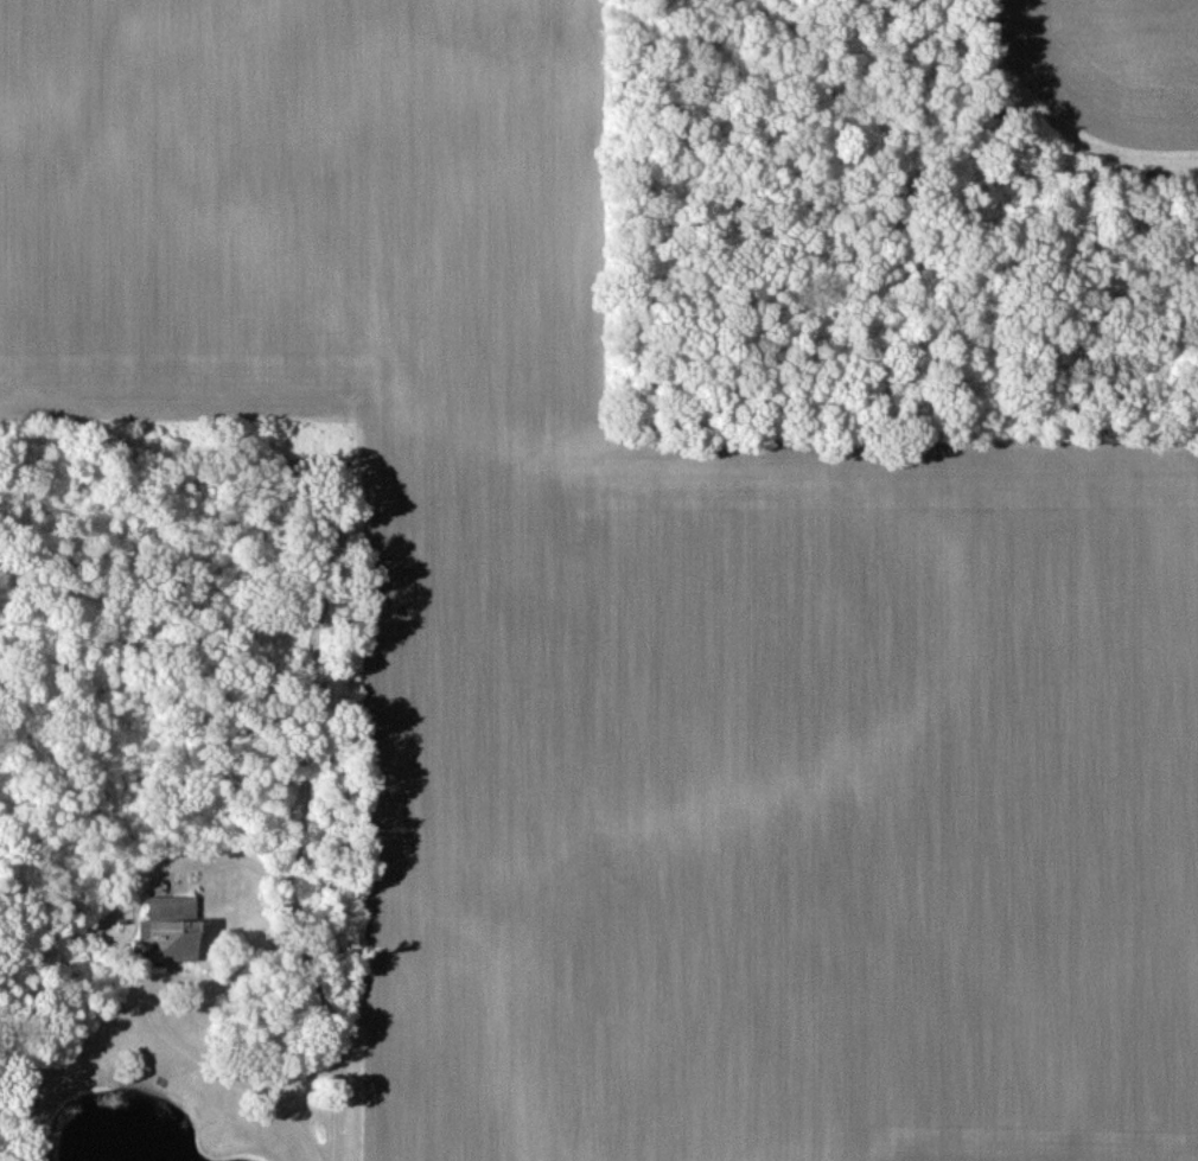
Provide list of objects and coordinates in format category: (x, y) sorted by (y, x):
building: (170, 929)

